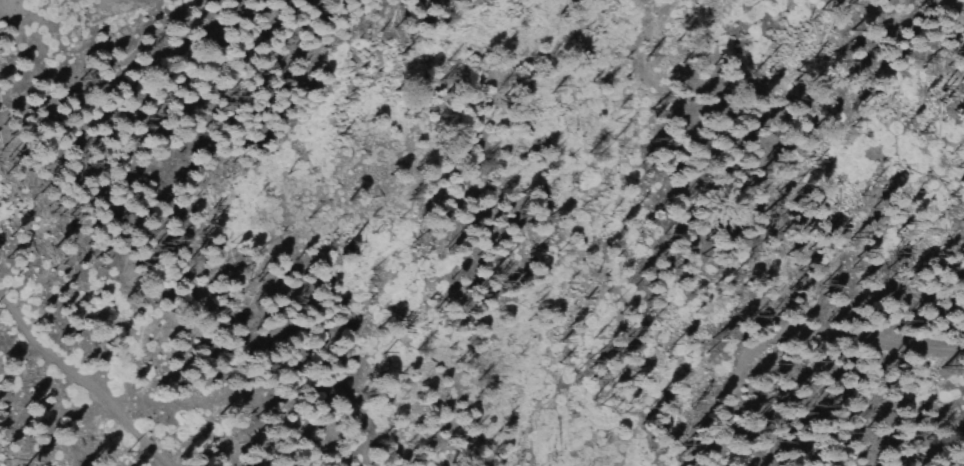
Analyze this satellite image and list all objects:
road: (826, 360)

